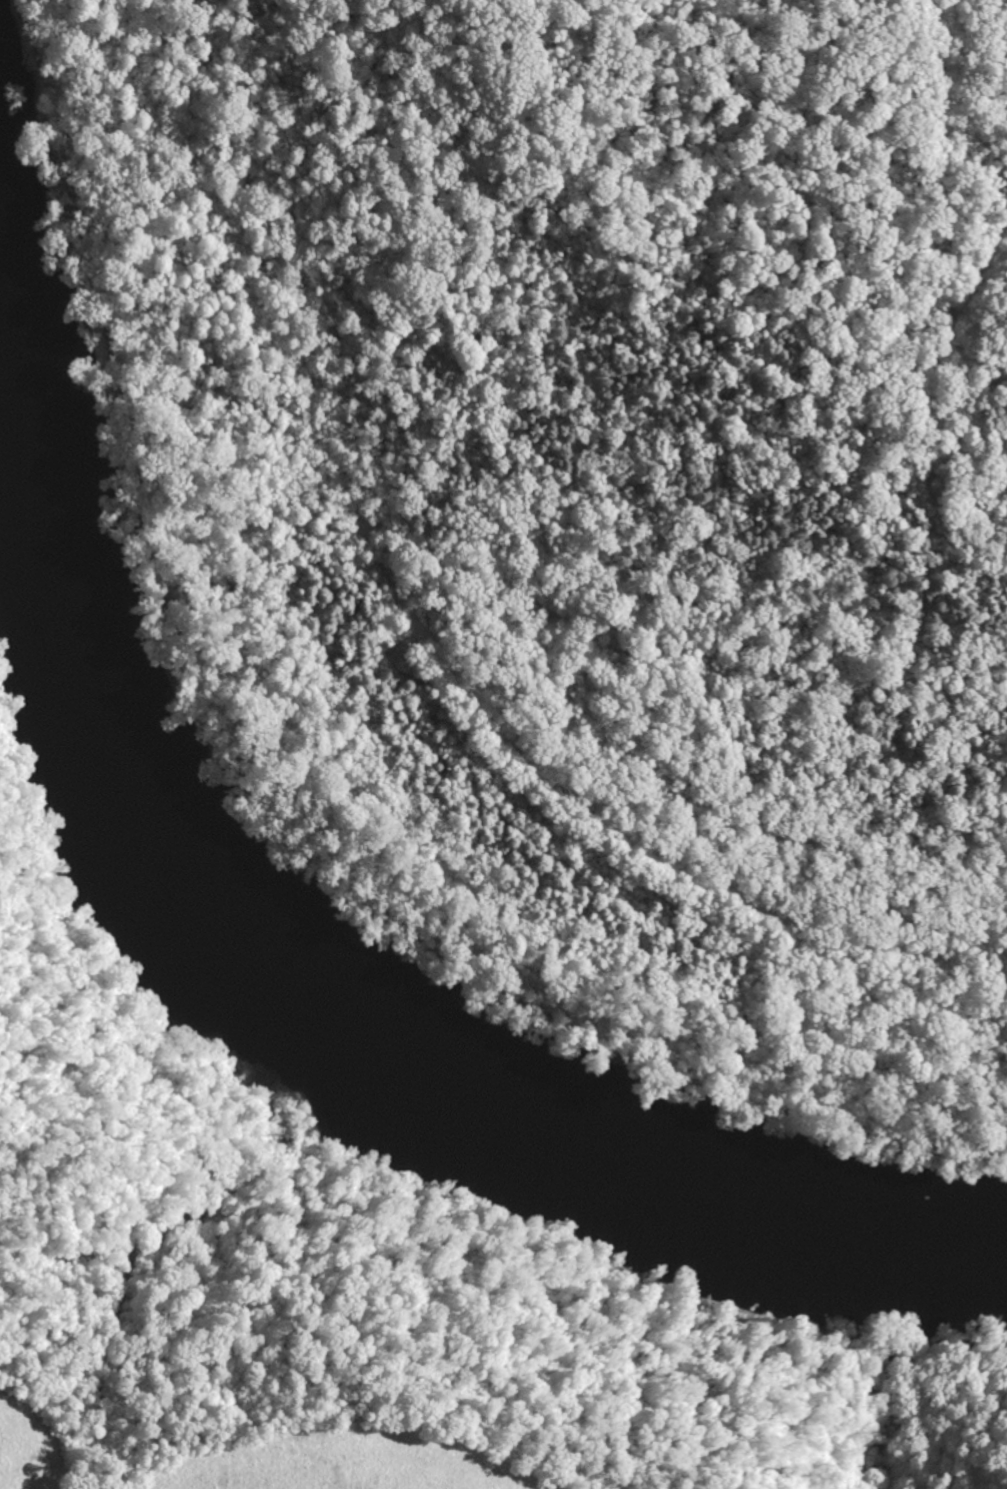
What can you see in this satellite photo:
river: (325, 971)

